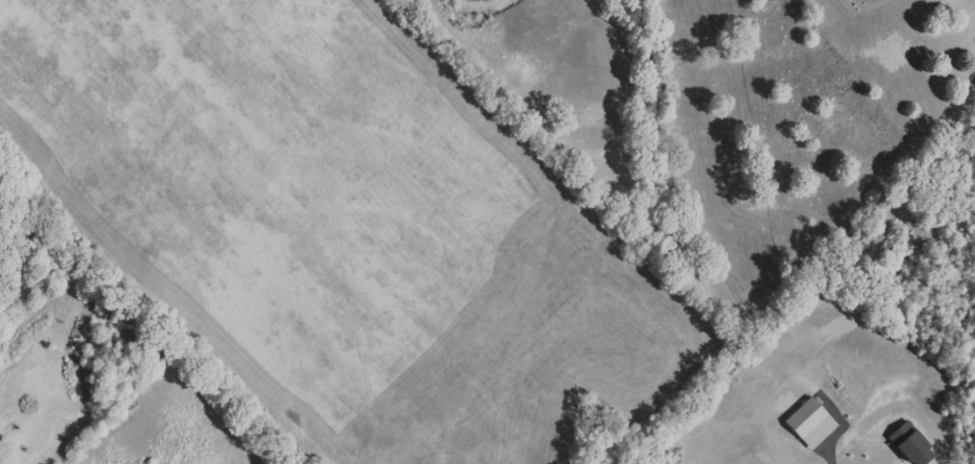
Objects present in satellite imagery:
building: (811, 423)
building: (911, 445)
road: (831, 453)

